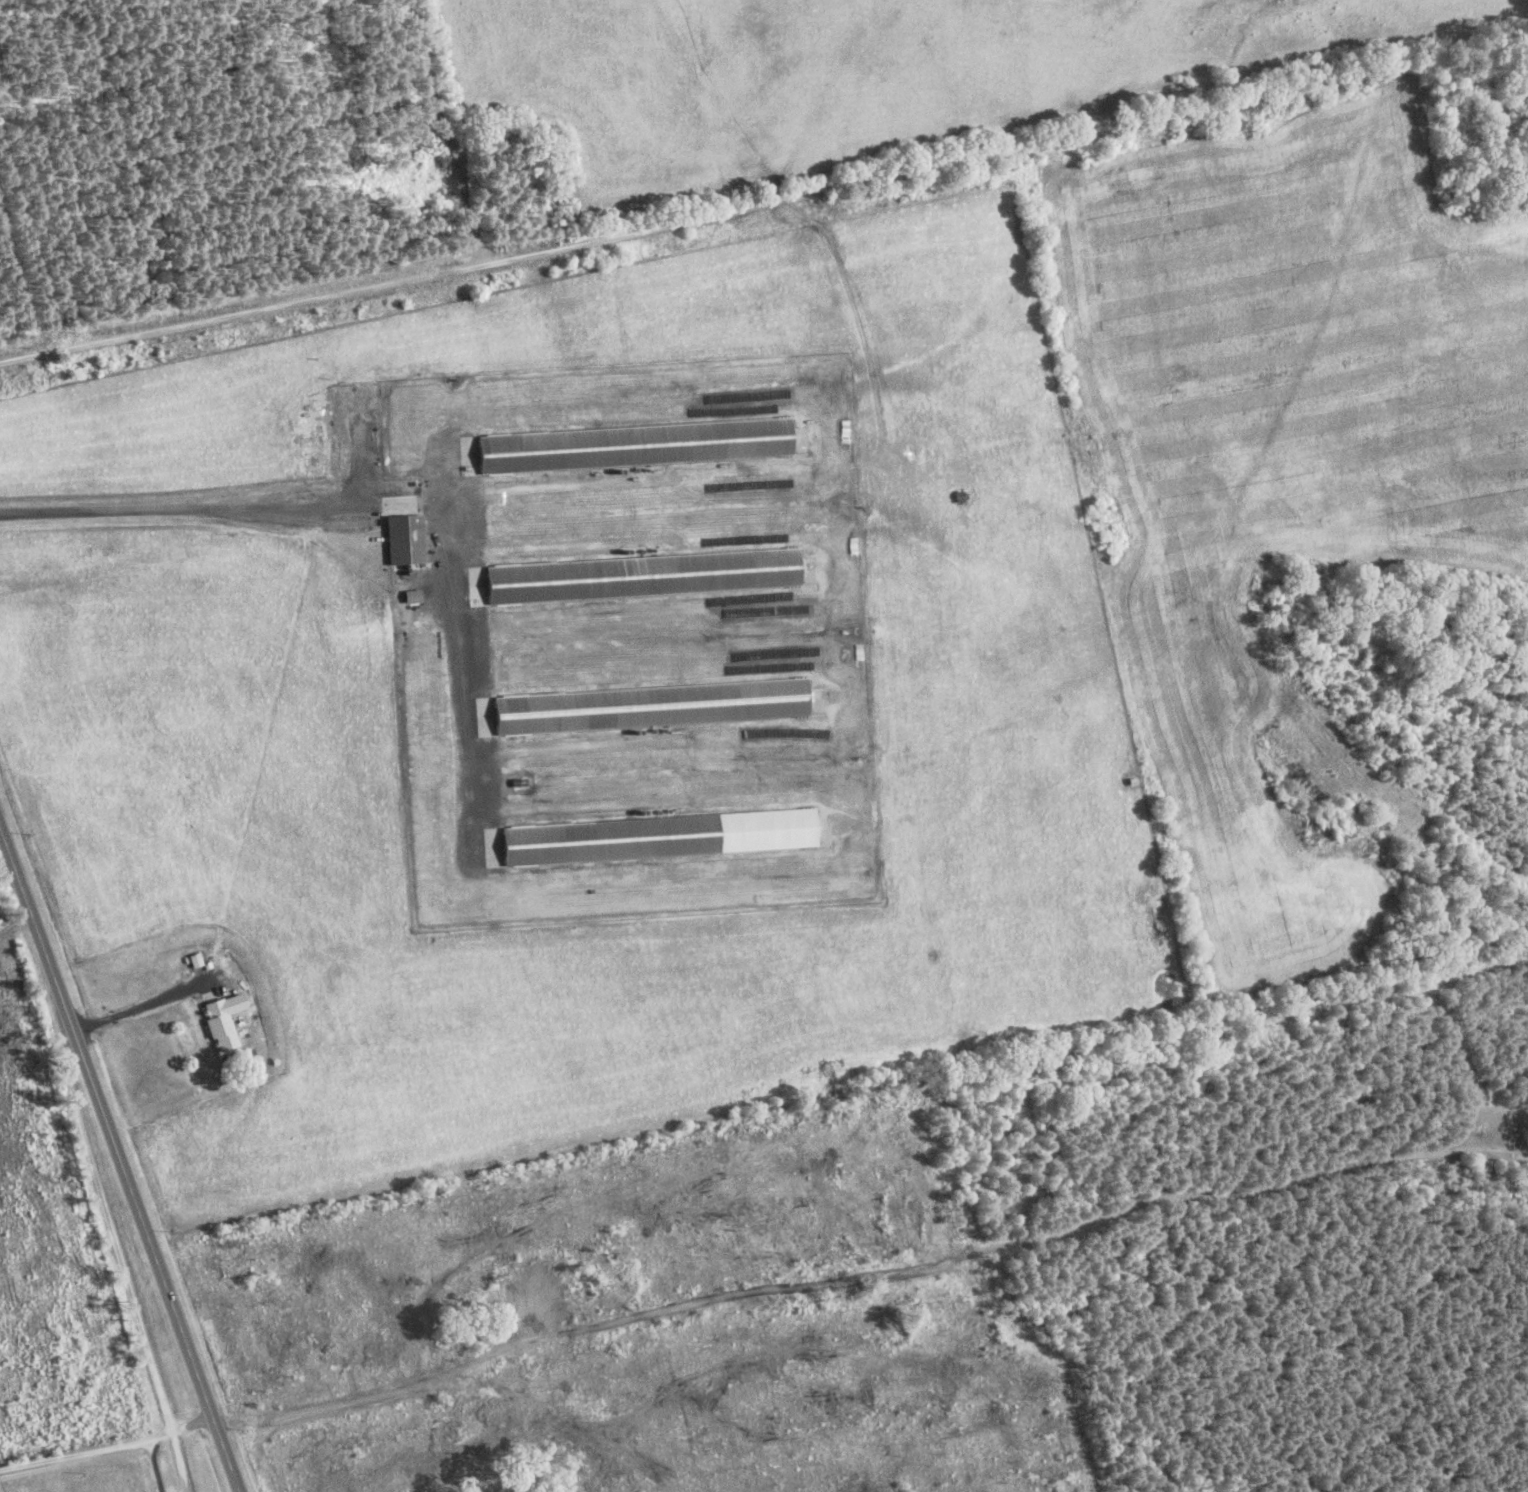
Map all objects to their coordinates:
road: (369, 283)
building: (632, 447)
building: (403, 541)
building: (640, 578)
building: (648, 708)
building: (656, 838)
road: (13, 899)
building: (221, 1021)
road: (120, 1156)
road: (105, 1193)
road: (1318, 1409)
road: (89, 1431)

